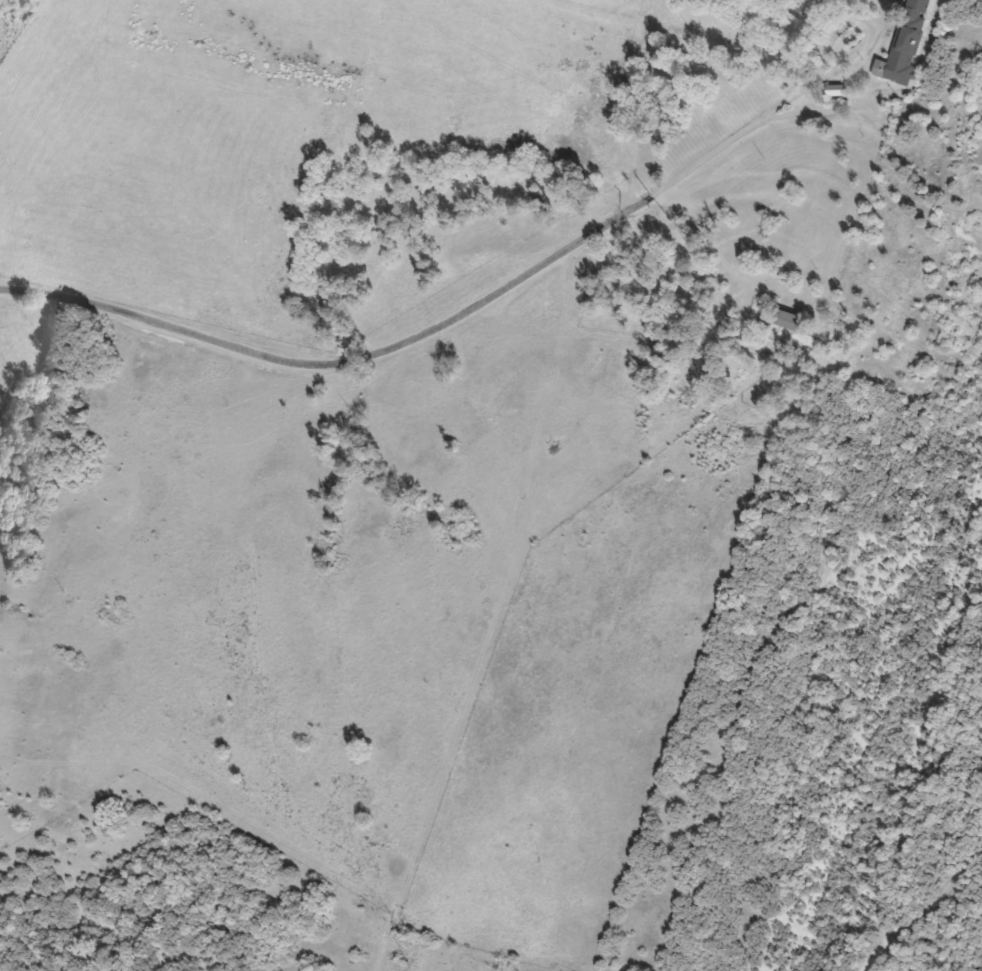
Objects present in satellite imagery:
building: (902, 44)
building: (831, 89)
building: (784, 319)
road: (408, 338)

